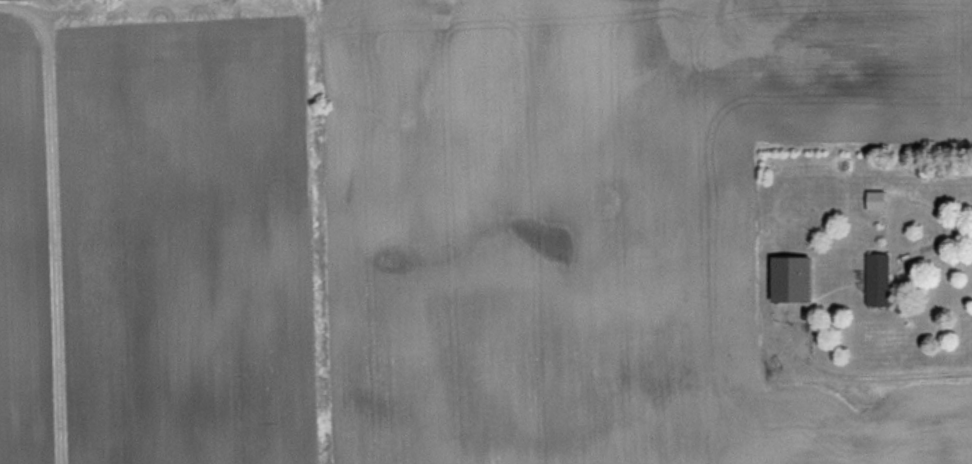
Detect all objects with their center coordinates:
building: (881, 201)
building: (801, 279)
building: (883, 280)

